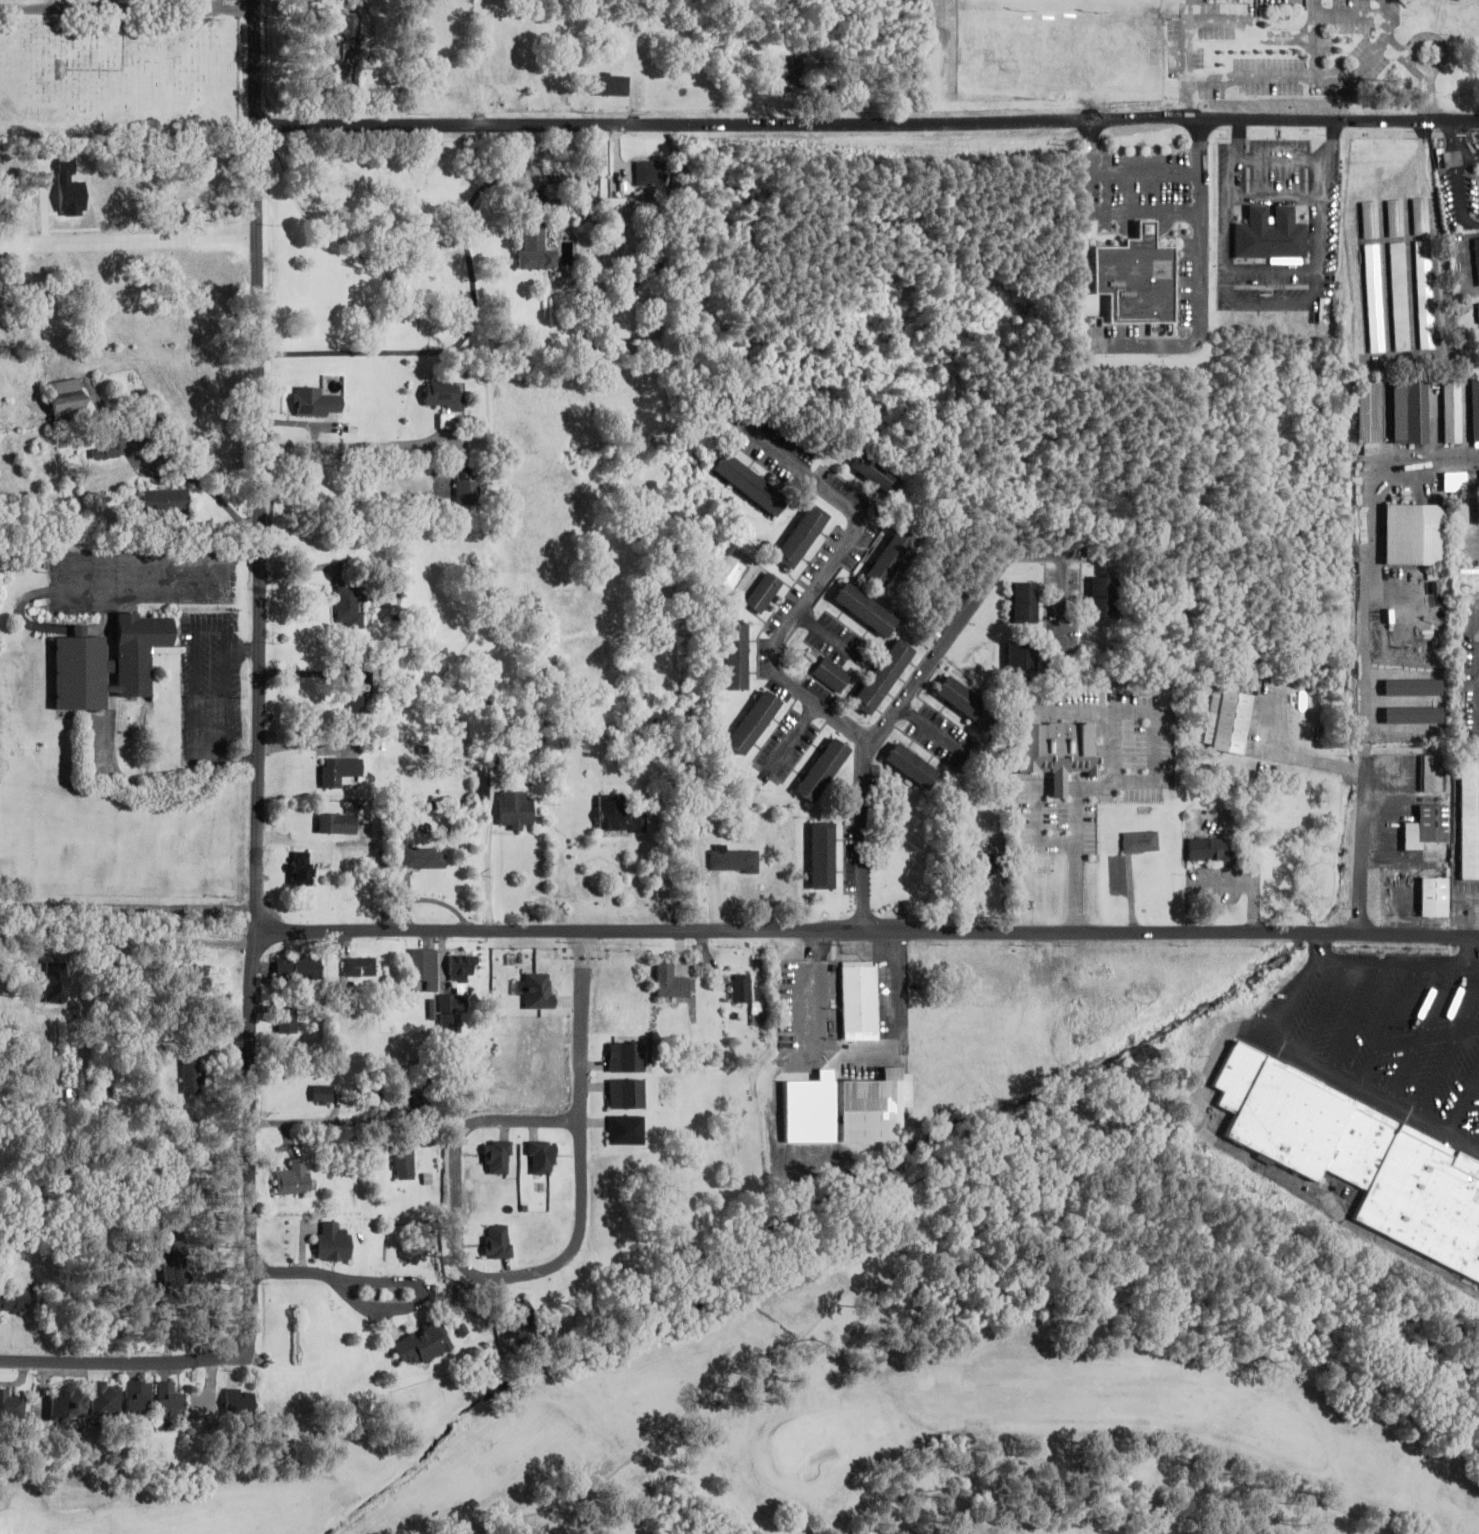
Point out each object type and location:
building: (351, 36)
building: (792, 75)
building: (453, 82)
building: (609, 84)
road: (869, 130)
building: (651, 173)
building: (591, 186)
building: (1464, 202)
building: (1421, 216)
building: (1395, 217)
building: (1369, 218)
building: (1269, 234)
building: (535, 246)
building: (1477, 256)
building: (1132, 281)
building: (1426, 294)
building: (1400, 296)
building: (1374, 297)
building: (1478, 306)
building: (67, 399)
building: (446, 399)
building: (315, 402)
building: (1452, 410)
building: (1475, 410)
building: (1410, 412)
building: (1368, 416)
building: (158, 417)
building: (106, 450)
building: (873, 472)
building: (749, 483)
building: (1455, 483)
building: (468, 486)
building: (166, 501)
building: (1413, 533)
building: (801, 535)
building: (889, 559)
road: (1001, 566)
road: (816, 584)
building: (763, 592)
building: (1102, 596)
building: (1025, 602)
building: (351, 606)
building: (864, 608)
building: (736, 655)
building: (1019, 656)
building: (110, 662)
building: (832, 674)
building: (883, 676)
building: (358, 685)
building: (1412, 687)
building: (637, 699)
building: (967, 702)
building: (1413, 715)
building: (655, 717)
building: (1228, 720)
building: (753, 722)
road: (888, 727)
road: (934, 732)
building: (1028, 741)
building: (911, 765)
building: (1045, 766)
building: (338, 769)
building: (822, 769)
building: (1432, 773)
building: (482, 792)
road: (255, 796)
building: (516, 810)
building: (1048, 811)
building: (611, 812)
building: (1470, 815)
building: (337, 823)
building: (1426, 827)
road: (864, 836)
building: (1140, 841)
building: (1209, 850)
building: (823, 854)
building: (424, 857)
building: (734, 860)
building: (982, 863)
building: (300, 867)
building: (1434, 897)
road: (867, 929)
road: (1475, 948)
road: (1386, 960)
building: (360, 966)
building: (424, 966)
building: (298, 967)
building: (461, 967)
building: (669, 981)
building: (538, 990)
building: (859, 1001)
road: (1297, 1001)
road: (1327, 1009)
building: (451, 1011)
road: (1359, 1017)
building: (287, 1021)
road: (1390, 1024)
road: (1472, 1024)
road: (1423, 1032)
parking lot: (1392, 1035)
road: (1420, 1040)
road: (1449, 1056)
building: (626, 1057)
building: (192, 1072)
building: (666, 1085)
building: (626, 1093)
building: (323, 1094)
road: (1375, 1096)
road: (1465, 1106)
building: (1281, 1108)
building: (846, 1109)
road: (322, 1125)
building: (626, 1129)
building: (1362, 1142)
building: (498, 1156)
building: (542, 1156)
building: (404, 1162)
building: (183, 1170)
building: (296, 1179)
building: (1426, 1198)
building: (333, 1241)
building: (497, 1241)
building: (175, 1265)
road: (548, 1266)
building: (15, 1298)
building: (522, 1319)
building: (421, 1343)
building: (139, 1398)
building: (107, 1399)
park: (872, 1399)
building: (170, 1401)
building: (240, 1401)
building: (67, 1404)
building: (12, 1405)

